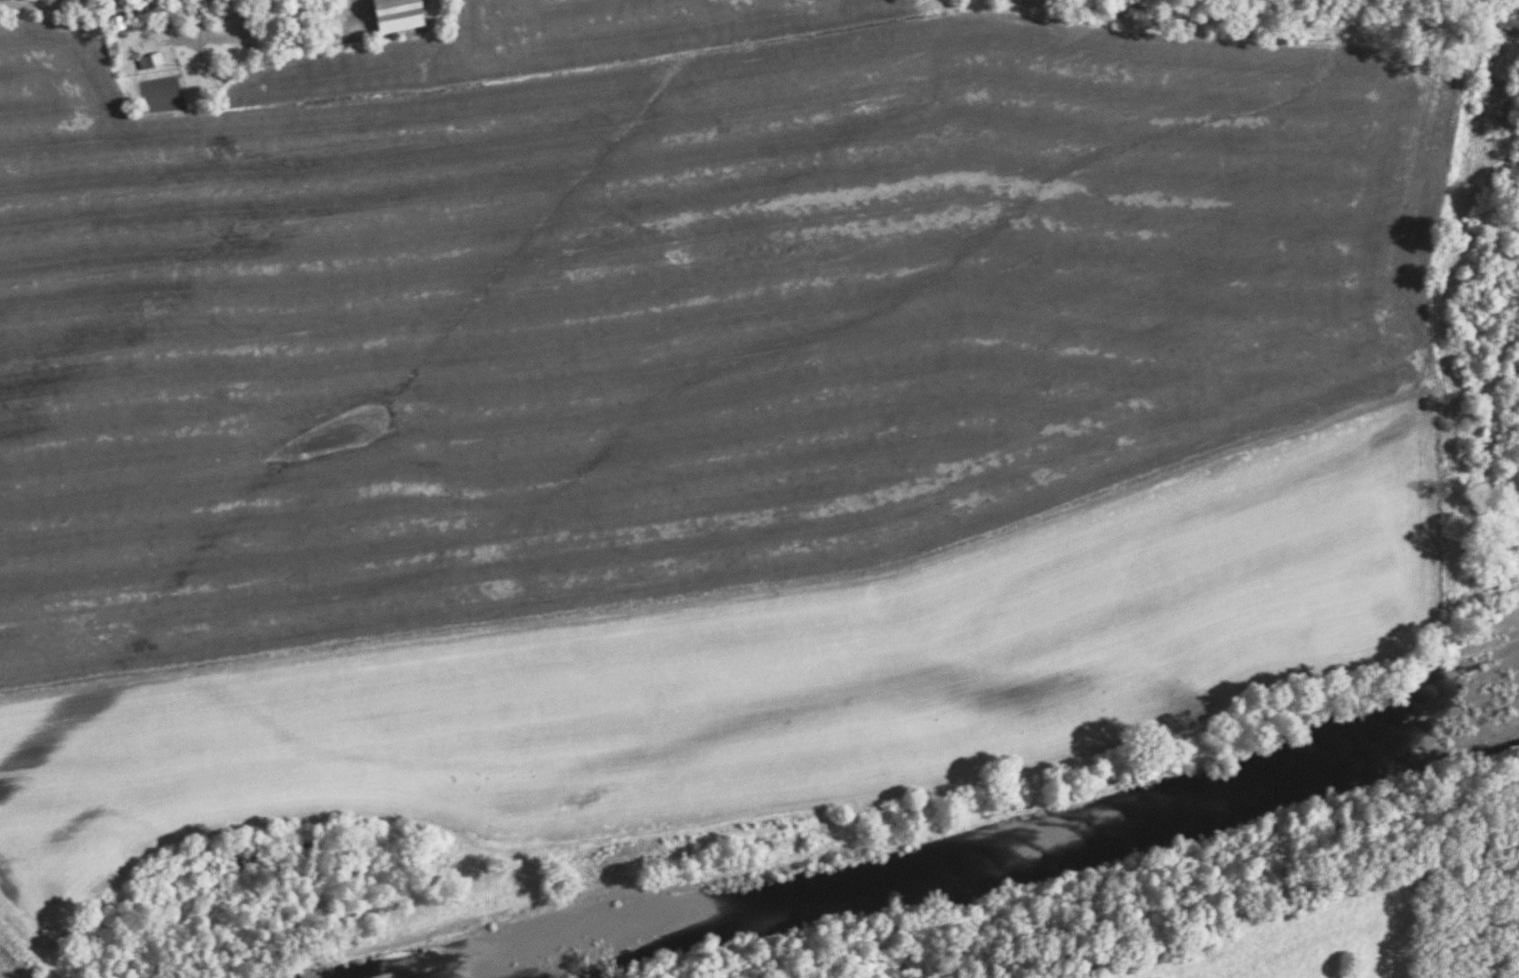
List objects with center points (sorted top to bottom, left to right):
road: (86, 10)
building: (405, 15)
building: (121, 23)
building: (245, 23)
building: (268, 47)
building: (157, 52)
river: (980, 856)

